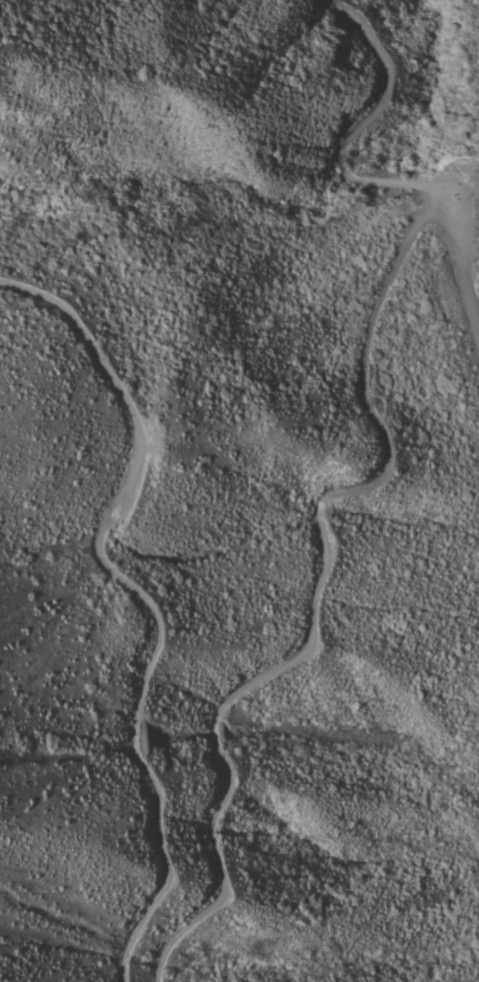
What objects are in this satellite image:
road: (357, 177)
road: (314, 597)
road: (142, 599)

